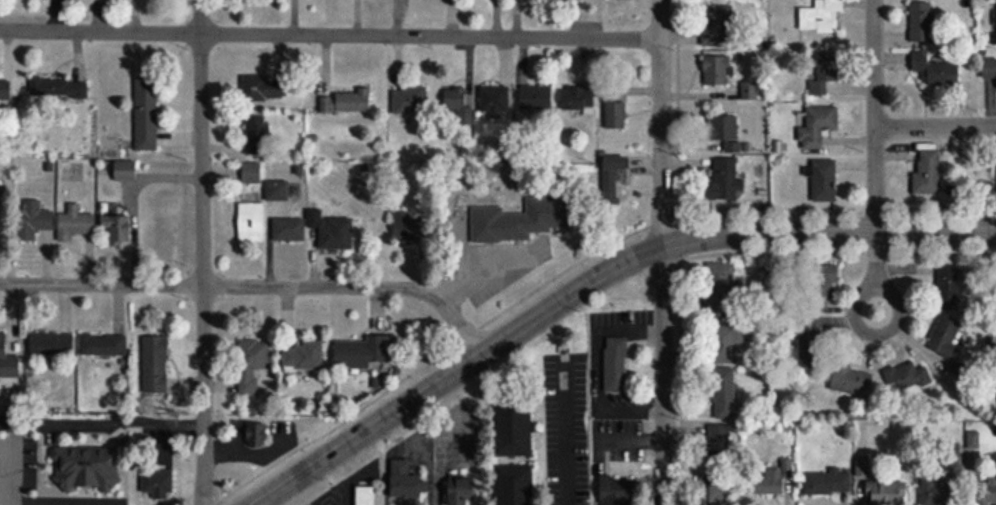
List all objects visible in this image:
building: (821, 16)
building: (921, 21)
building: (718, 24)
road: (328, 35)
building: (938, 68)
building: (989, 68)
building: (717, 69)
building: (824, 70)
building: (263, 86)
building: (6, 88)
building: (59, 88)
building: (536, 97)
building: (578, 98)
building: (410, 99)
building: (353, 100)
building: (456, 100)
building: (495, 101)
building: (327, 104)
building: (616, 111)
building: (146, 121)
building: (818, 125)
road: (935, 125)
building: (725, 131)
building: (256, 135)
building: (125, 169)
road: (875, 171)
building: (928, 171)
building: (251, 172)
building: (613, 176)
building: (725, 179)
building: (823, 179)
building: (284, 190)
building: (33, 219)
building: (251, 221)
building: (75, 222)
building: (507, 226)
building: (411, 227)
building: (118, 228)
building: (289, 228)
building: (332, 229)
road: (203, 252)
road: (659, 252)
building: (825, 279)
road: (593, 281)
road: (254, 286)
building: (950, 286)
building: (946, 336)
building: (52, 343)
building: (809, 344)
building: (104, 345)
building: (725, 347)
building: (362, 353)
building: (303, 356)
building: (8, 361)
building: (155, 364)
building: (616, 365)
building: (252, 368)
building: (907, 378)
building: (852, 382)
building: (724, 393)
road: (102, 416)
building: (514, 428)
building: (256, 433)
building: (719, 446)
building: (86, 467)
building: (771, 480)
building: (405, 481)
building: (157, 483)
building: (827, 483)
building: (514, 484)
building: (462, 490)
building: (939, 490)
building: (619, 491)
building: (887, 493)
building: (720, 494)
building: (987, 494)
building: (368, 496)

